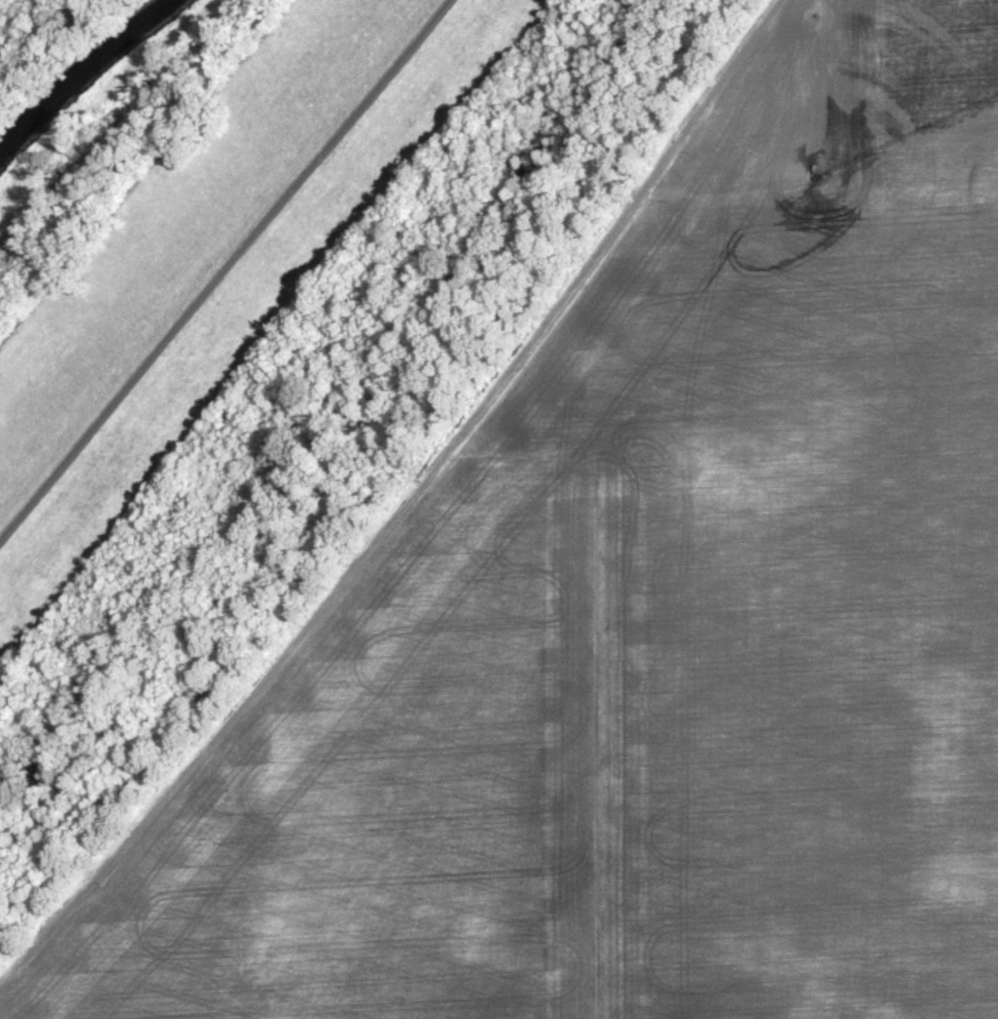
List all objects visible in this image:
road: (225, 269)
road: (406, 505)

